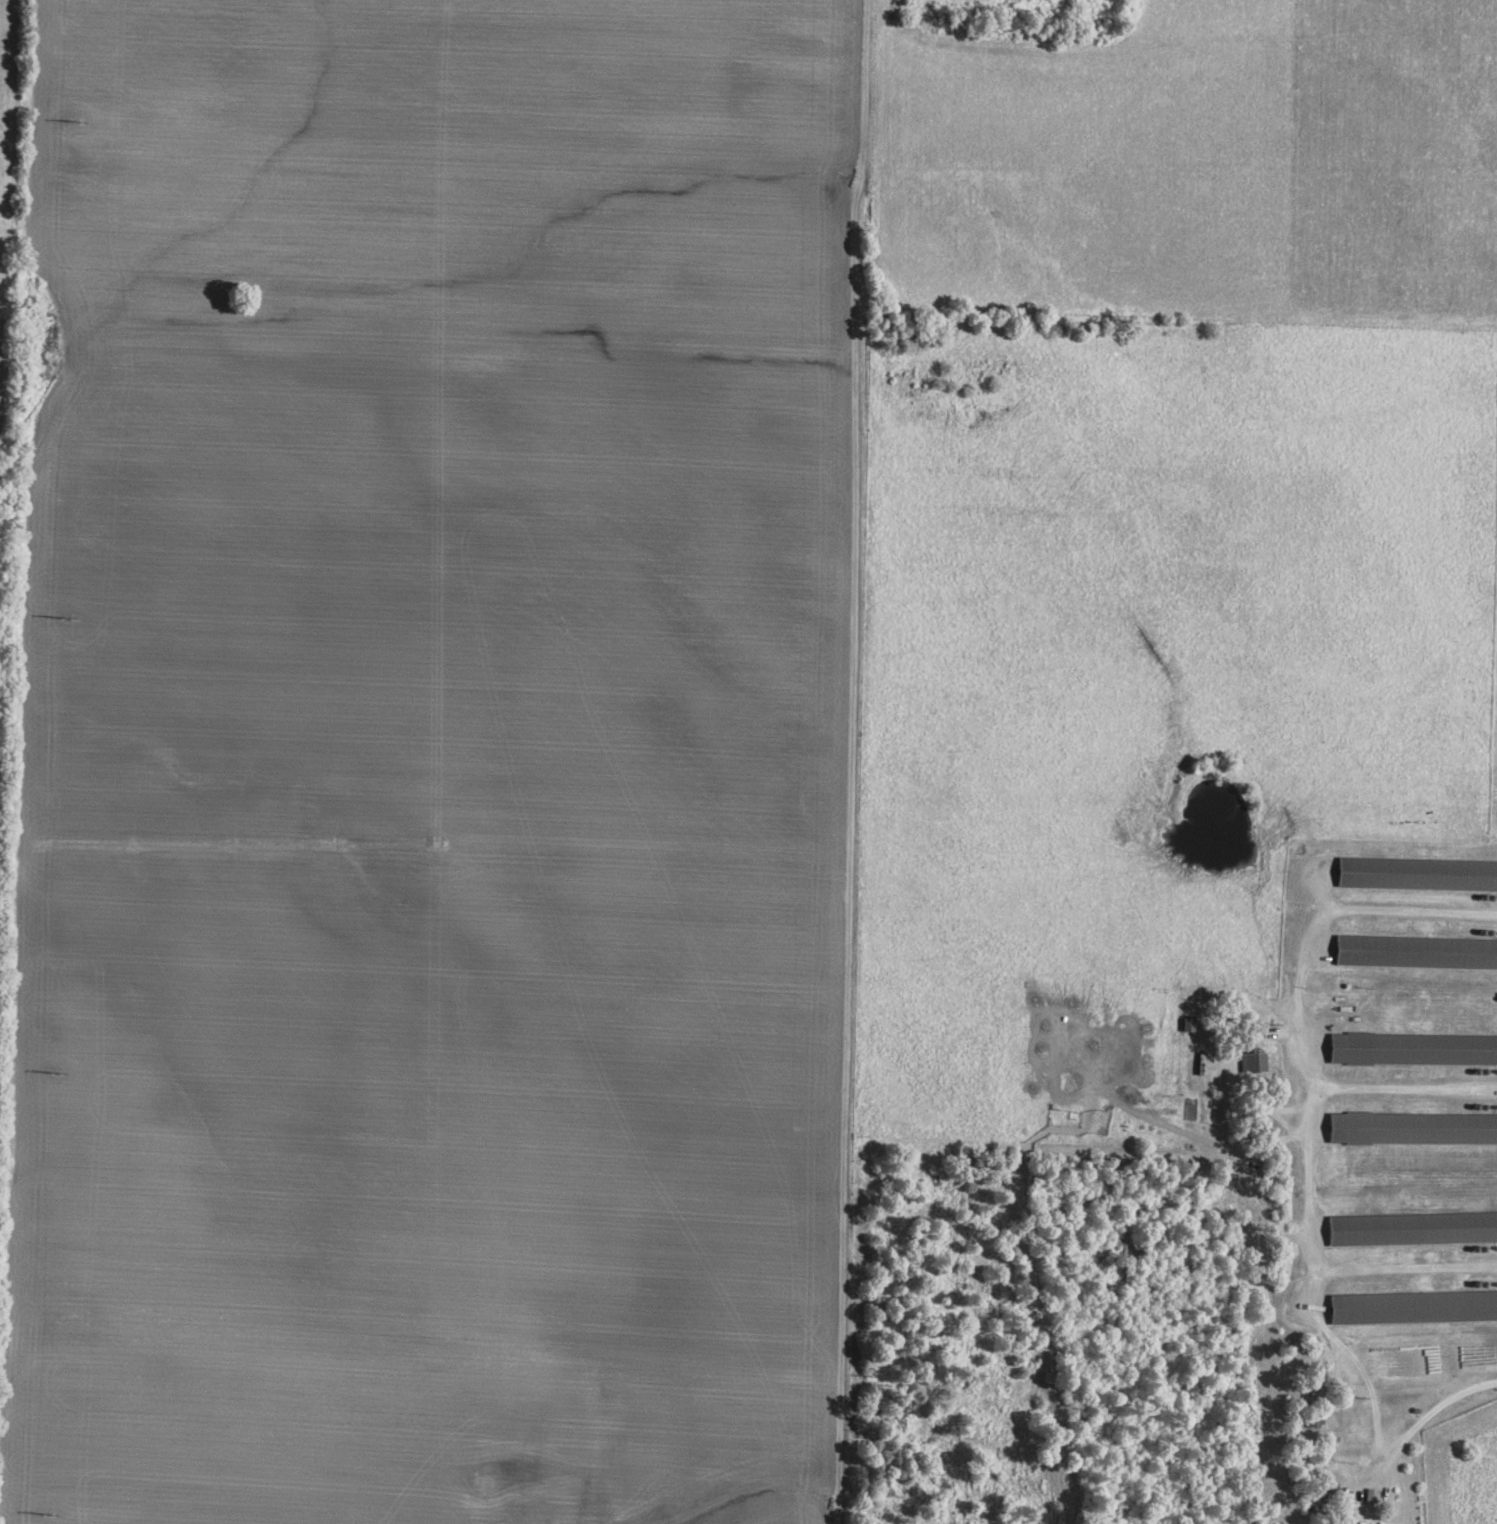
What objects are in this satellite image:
building: (1417, 873)
building: (1416, 951)
building: (1413, 1048)
building: (1252, 1061)
road: (1405, 1087)
road: (1310, 1113)
building: (1413, 1128)
building: (1412, 1228)
road: (1405, 1267)
building: (1414, 1306)
building: (1316, 1419)
road: (1425, 1423)
building: (1372, 1494)
building: (1351, 1523)

